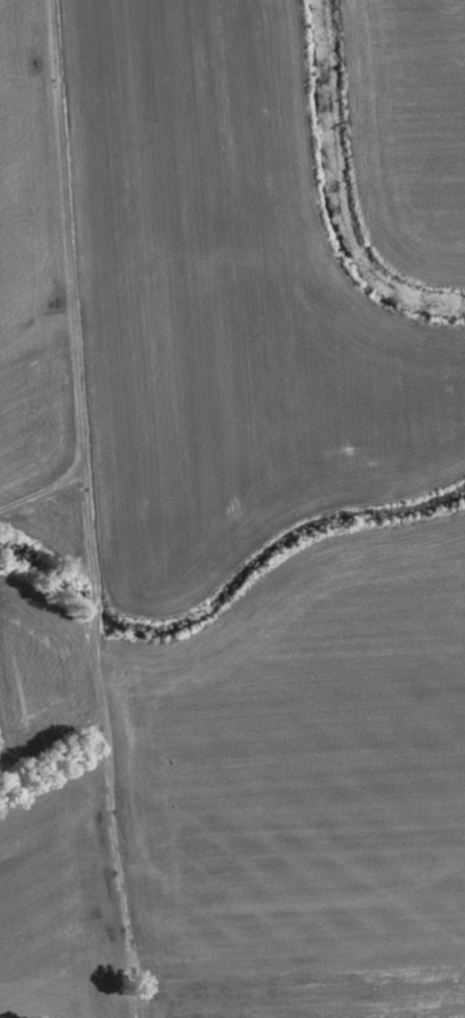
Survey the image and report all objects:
road: (70, 278)
road: (104, 723)

